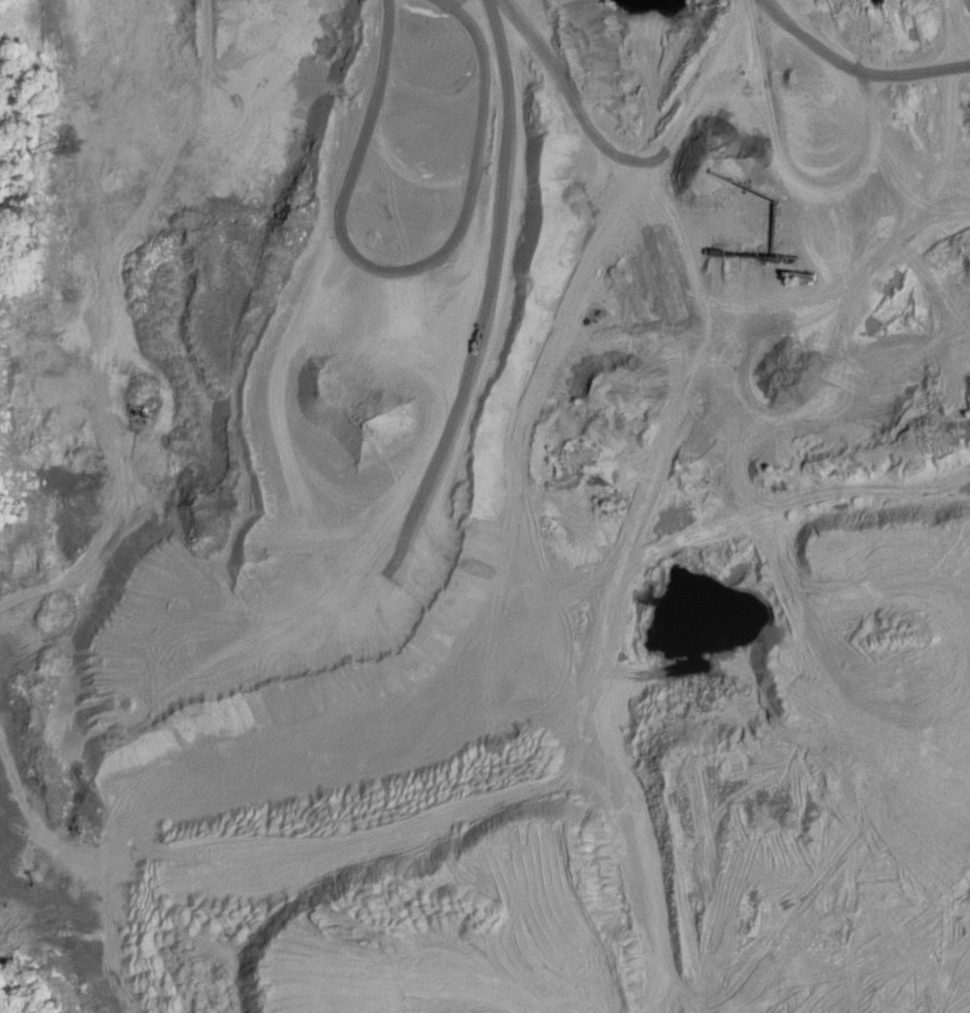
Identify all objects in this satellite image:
quarry: (492, 509)

